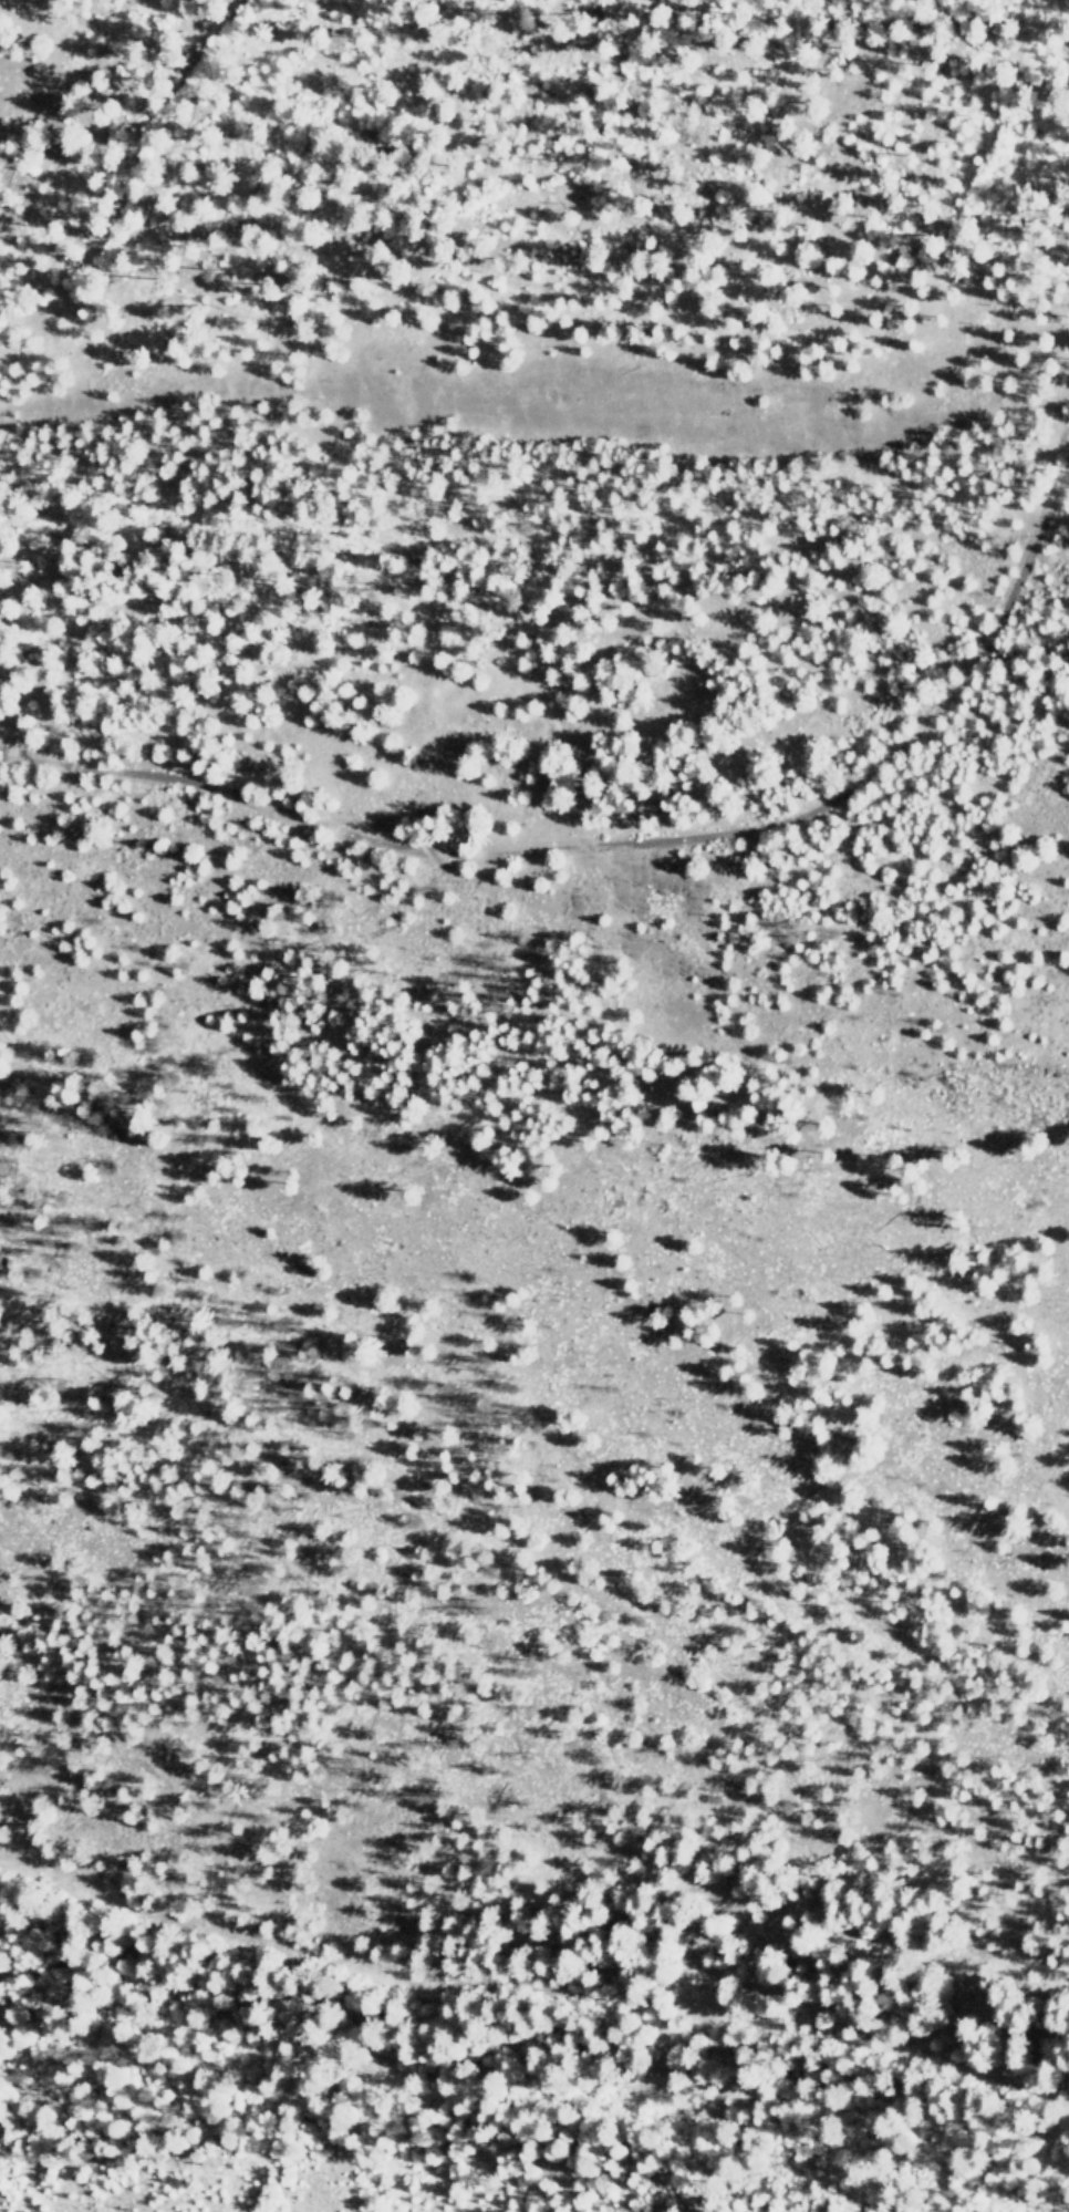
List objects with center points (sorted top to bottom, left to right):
road: (624, 845)
road: (529, 1987)

